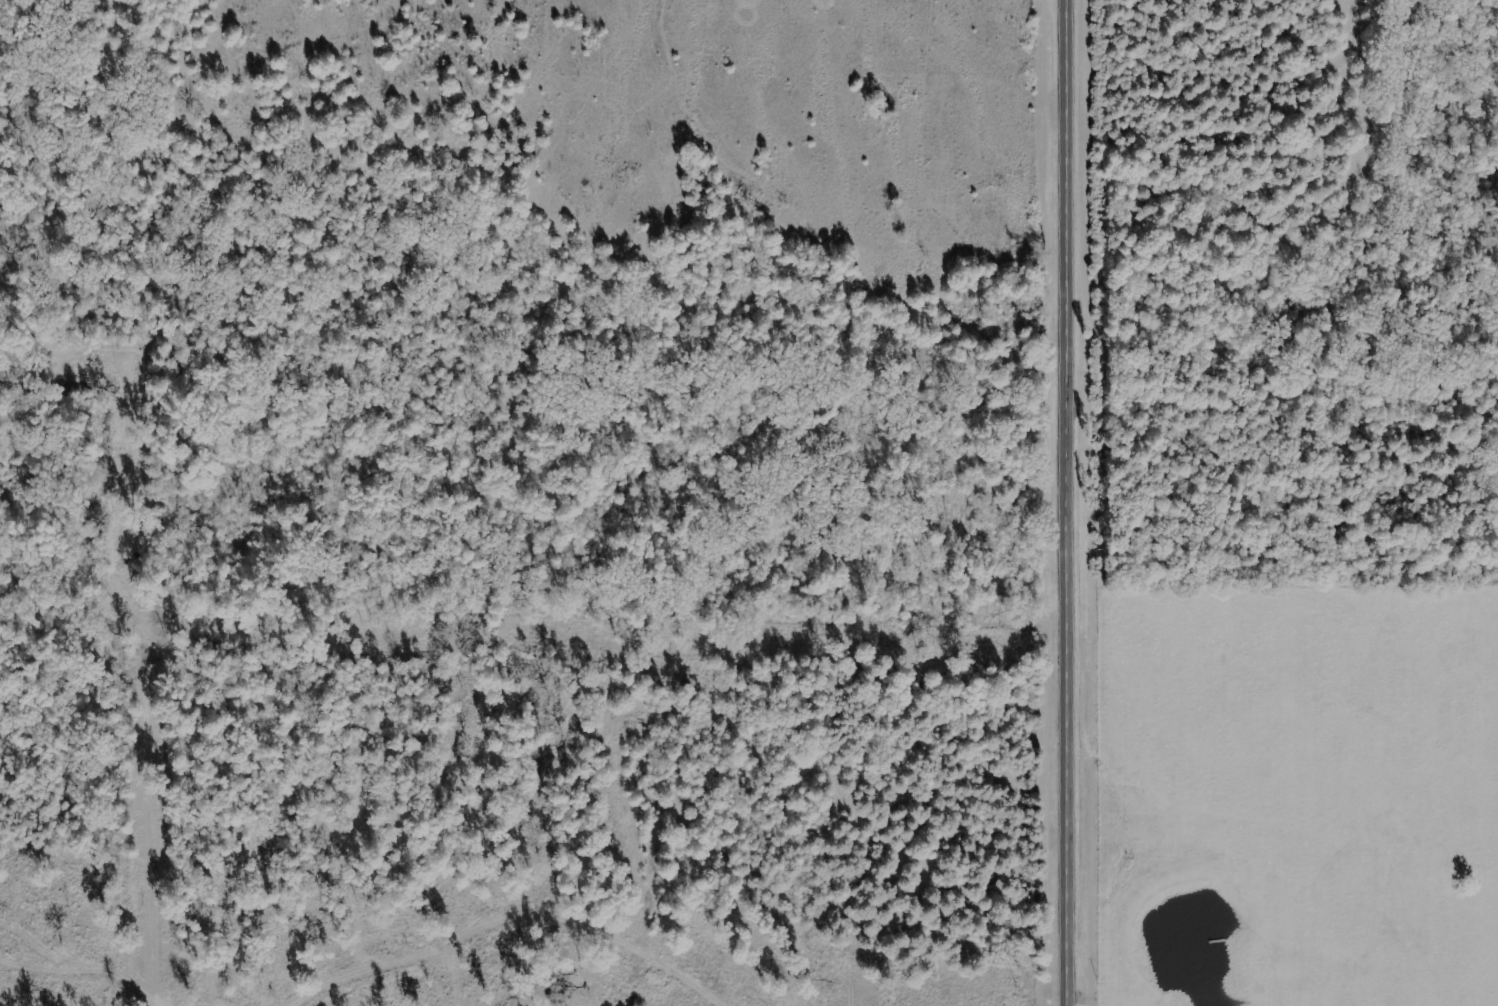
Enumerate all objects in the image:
road: (1059, 503)

